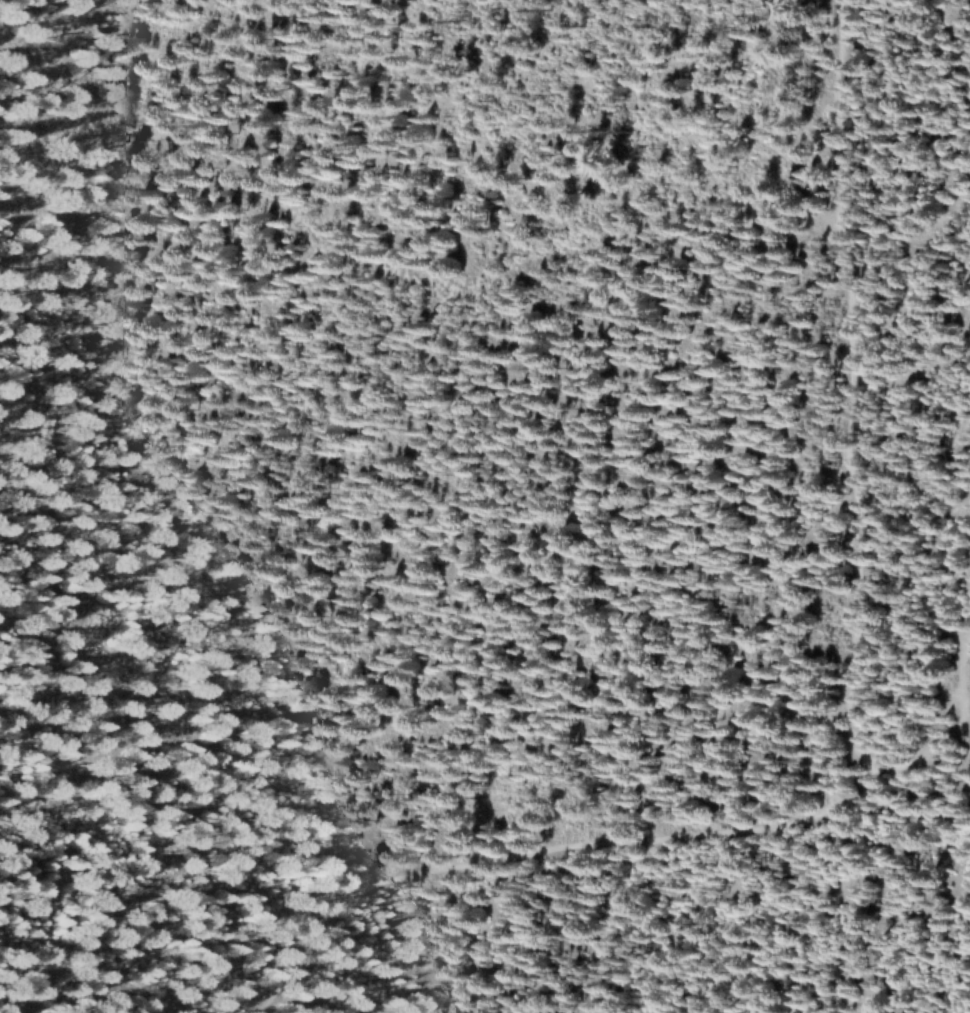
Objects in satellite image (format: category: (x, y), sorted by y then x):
road: (61, 25)
road: (60, 52)
road: (402, 272)
road: (854, 732)
road: (929, 737)

